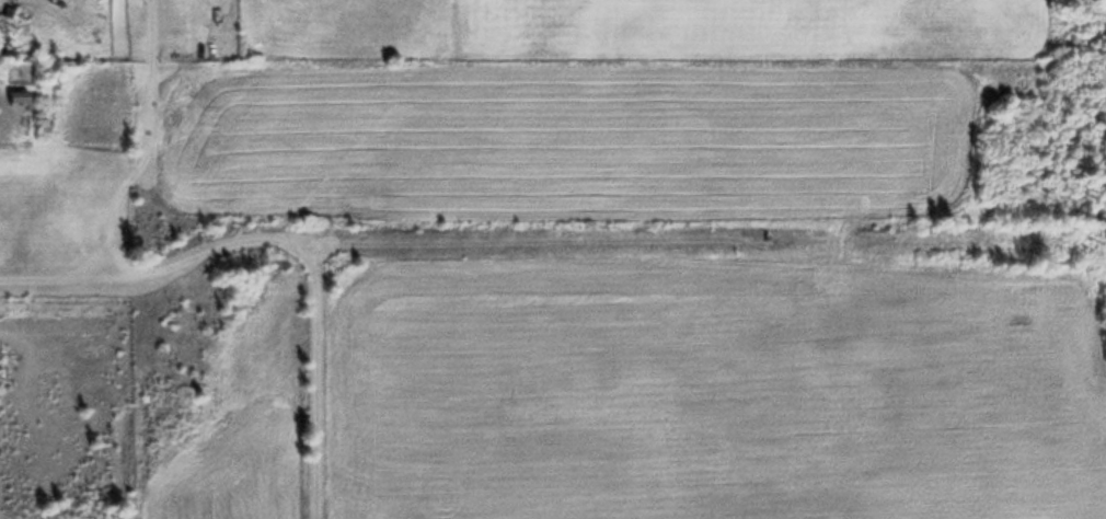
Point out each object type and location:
road: (133, 176)
road: (319, 262)

